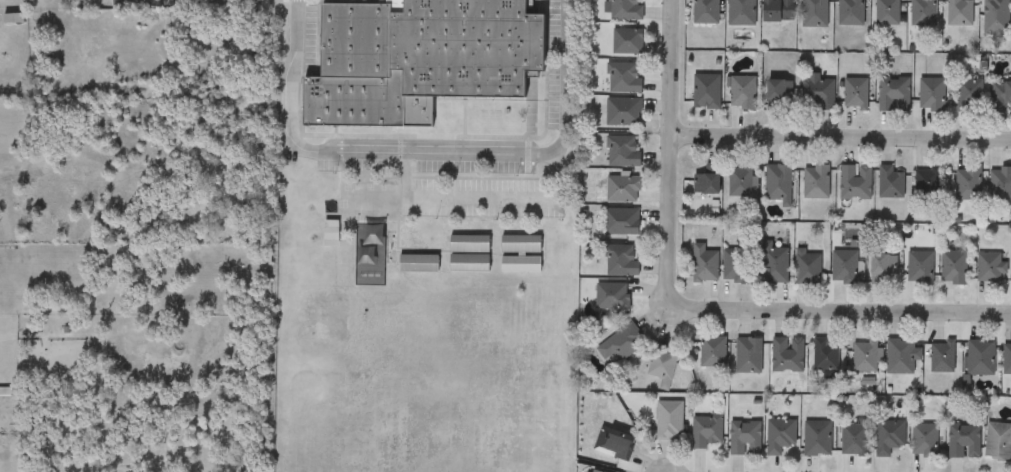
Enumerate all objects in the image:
building: (625, 10)
building: (777, 11)
building: (705, 12)
building: (886, 12)
building: (741, 13)
building: (813, 13)
building: (849, 13)
building: (923, 13)
building: (958, 13)
building: (995, 17)
building: (626, 41)
building: (417, 57)
building: (623, 78)
building: (817, 91)
building: (705, 92)
building: (741, 93)
building: (854, 93)
building: (777, 94)
building: (893, 94)
building: (930, 94)
building: (969, 94)
building: (1000, 96)
building: (622, 112)
building: (433, 124)
building: (499, 125)
road: (840, 137)
building: (622, 152)
road: (669, 154)
road: (429, 155)
building: (706, 181)
building: (739, 181)
building: (815, 182)
building: (854, 182)
building: (889, 183)
building: (926, 183)
building: (777, 184)
building: (967, 184)
building: (1000, 184)
building: (621, 189)
building: (620, 223)
building: (330, 234)
building: (468, 245)
building: (520, 245)
building: (620, 261)
building: (417, 263)
building: (468, 263)
building: (520, 264)
building: (703, 265)
building: (774, 265)
building: (734, 266)
building: (843, 267)
building: (953, 267)
building: (990, 267)
building: (807, 268)
building: (881, 268)
building: (919, 268)
building: (611, 297)
road: (843, 310)
building: (621, 344)
building: (712, 352)
building: (786, 355)
building: (825, 355)
building: (748, 356)
building: (901, 356)
building: (866, 357)
building: (942, 357)
building: (979, 358)
building: (1006, 358)
building: (661, 366)
building: (669, 419)
building: (706, 431)
building: (779, 436)
building: (888, 437)
building: (816, 438)
building: (745, 439)
building: (853, 440)
building: (923, 440)
building: (963, 440)
building: (997, 441)
building: (613, 443)
building: (593, 471)

